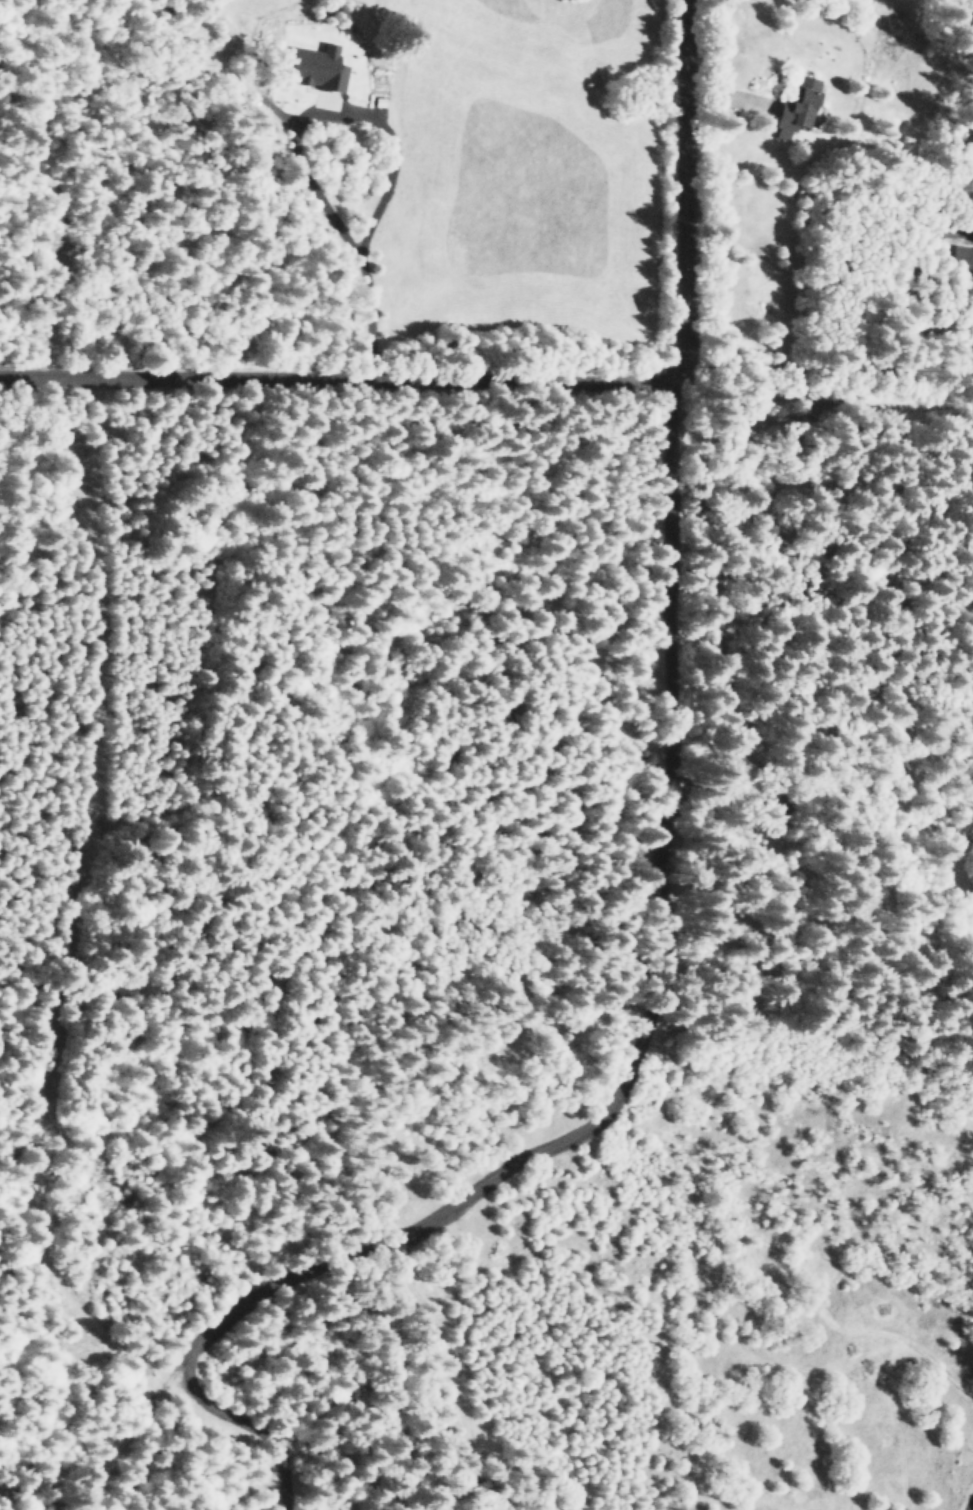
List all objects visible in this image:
road: (826, 359)
road: (524, 370)

